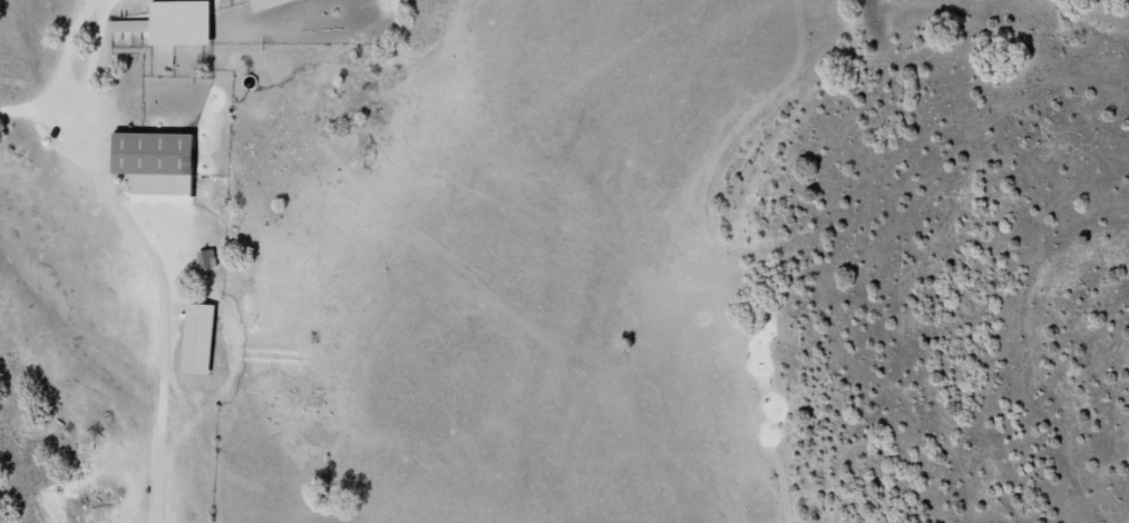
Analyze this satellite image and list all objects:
building: (129, 23)
building: (154, 160)
building: (205, 256)
road: (167, 273)

